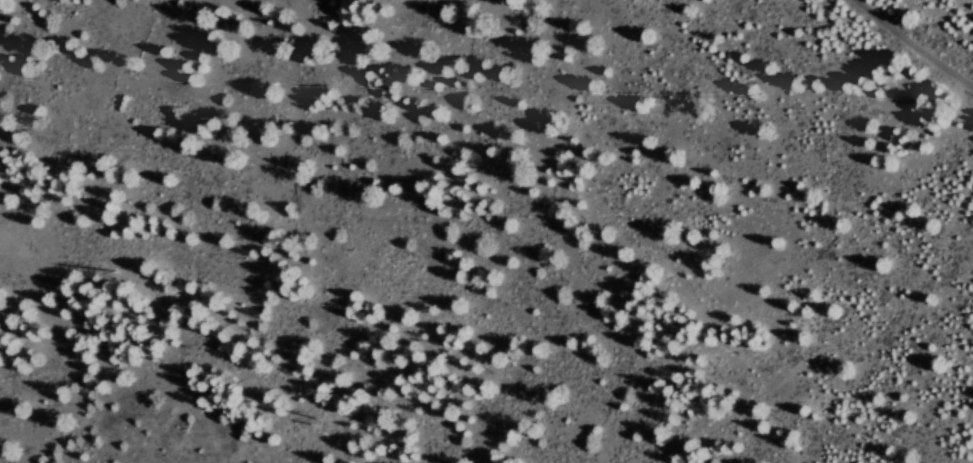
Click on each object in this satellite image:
road: (920, 40)

